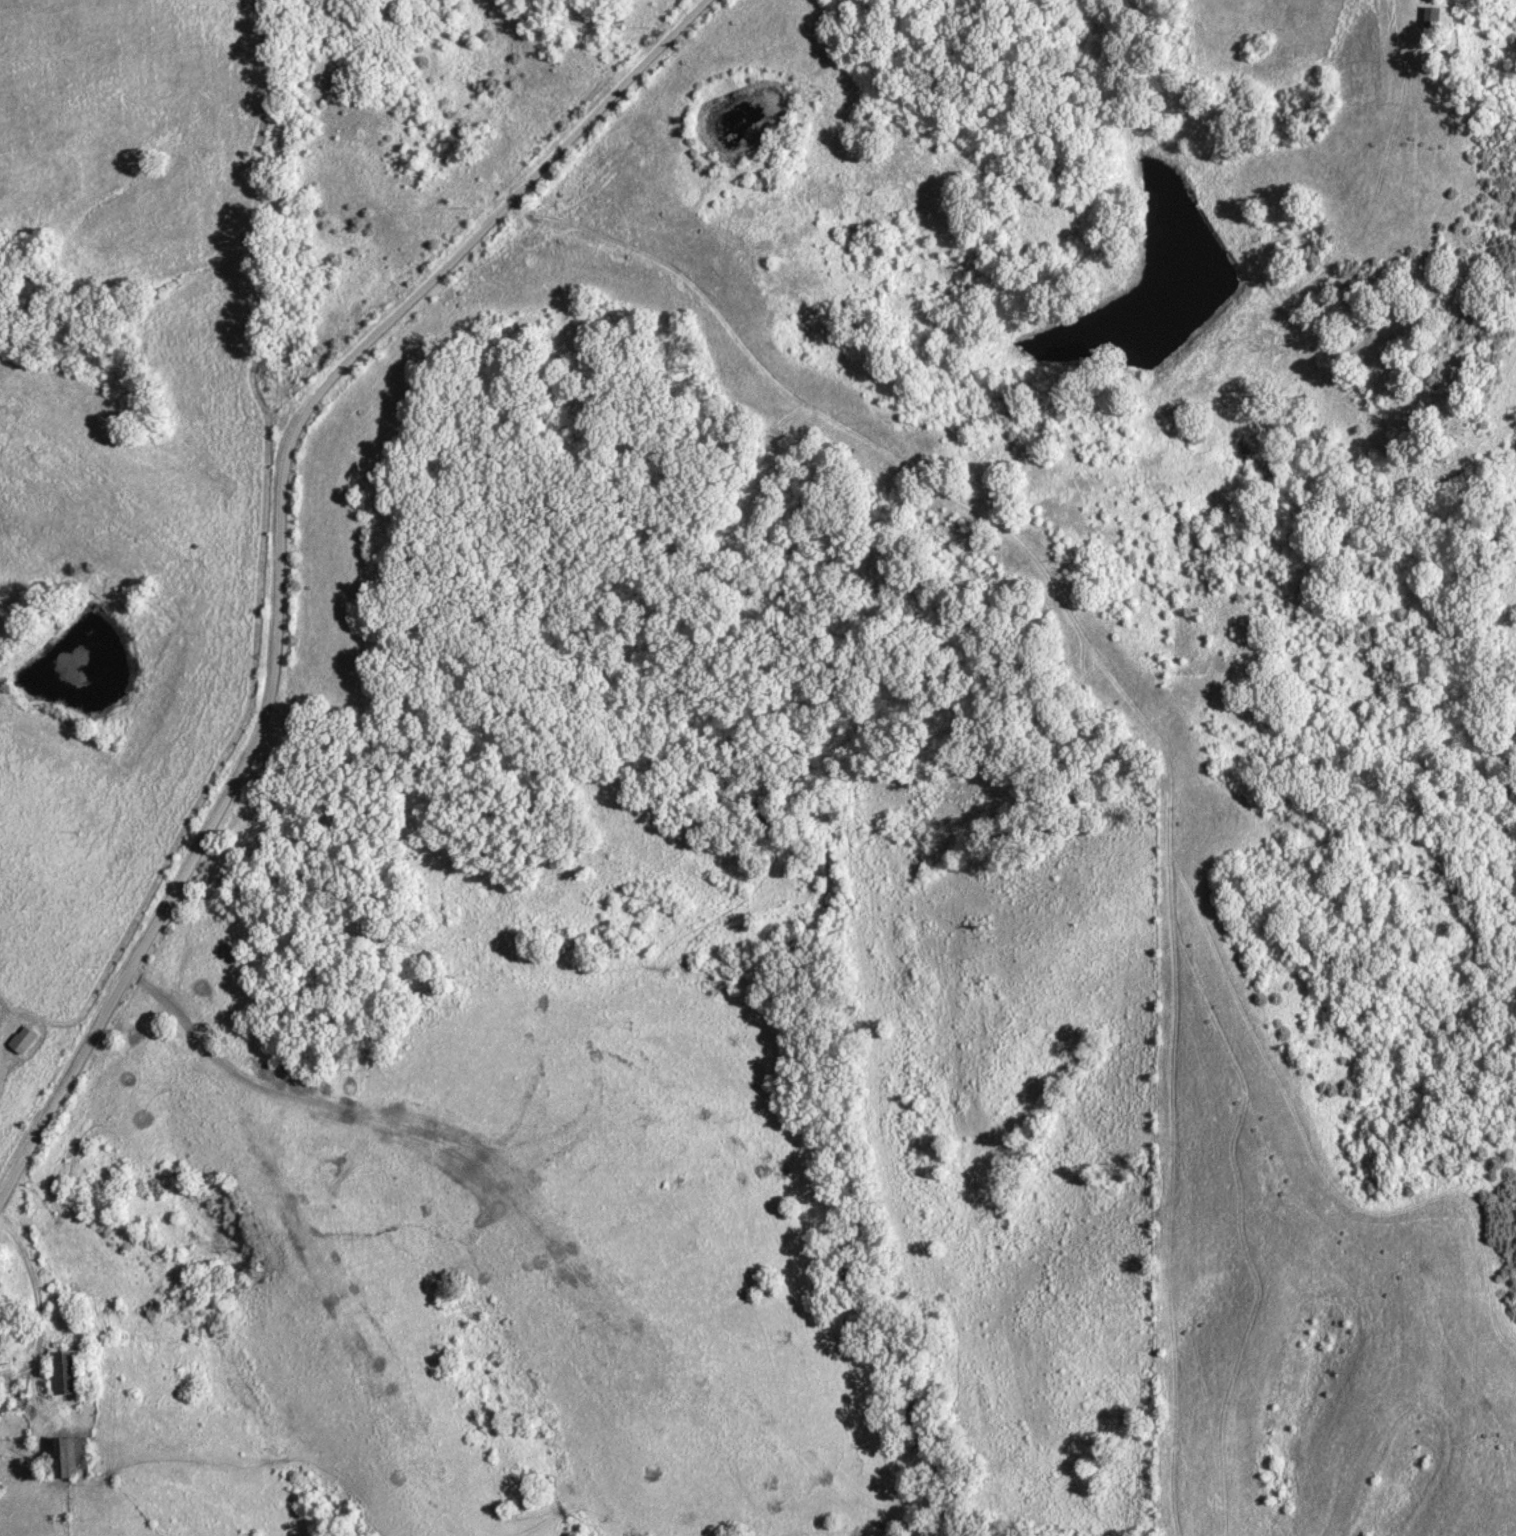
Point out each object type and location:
road: (287, 556)
road: (39, 1294)
building: (63, 1373)
building: (71, 1458)

